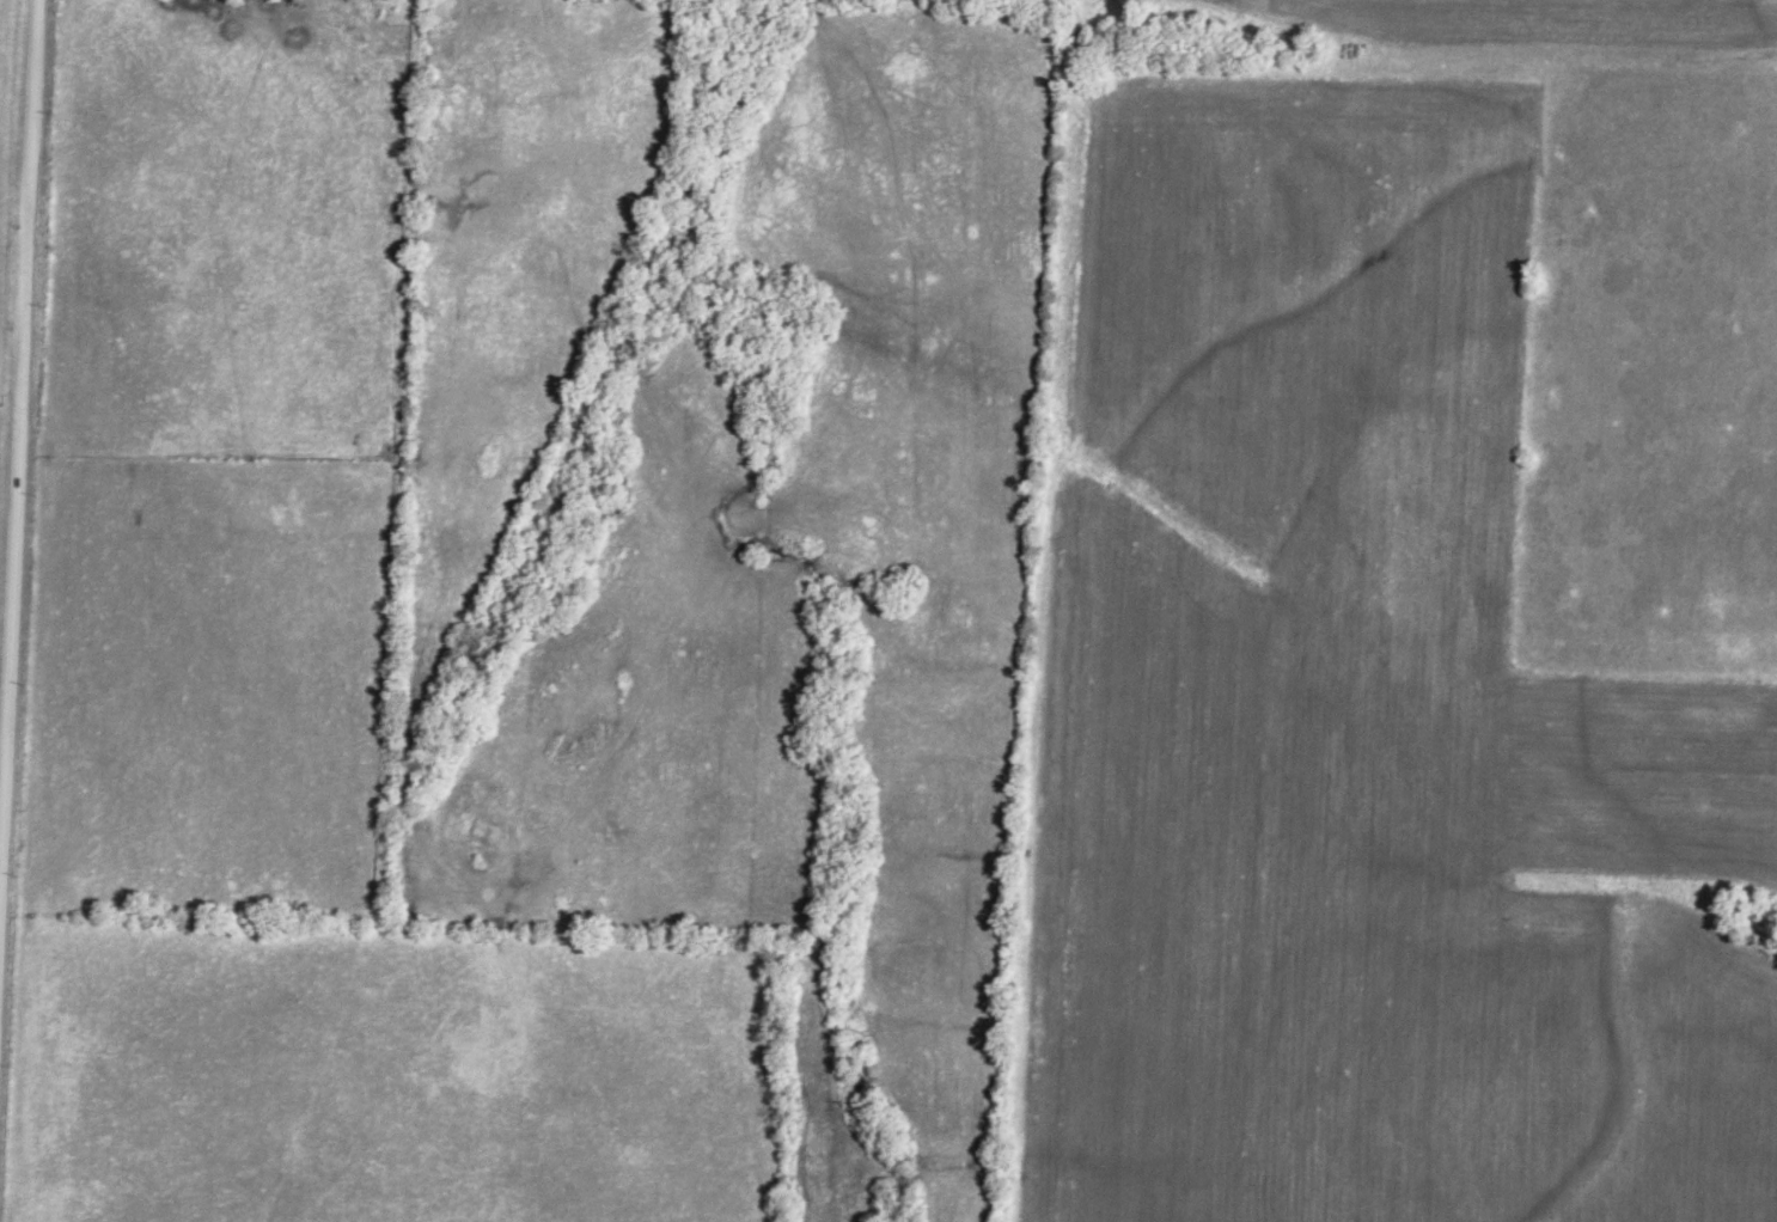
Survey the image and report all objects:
road: (22, 478)

